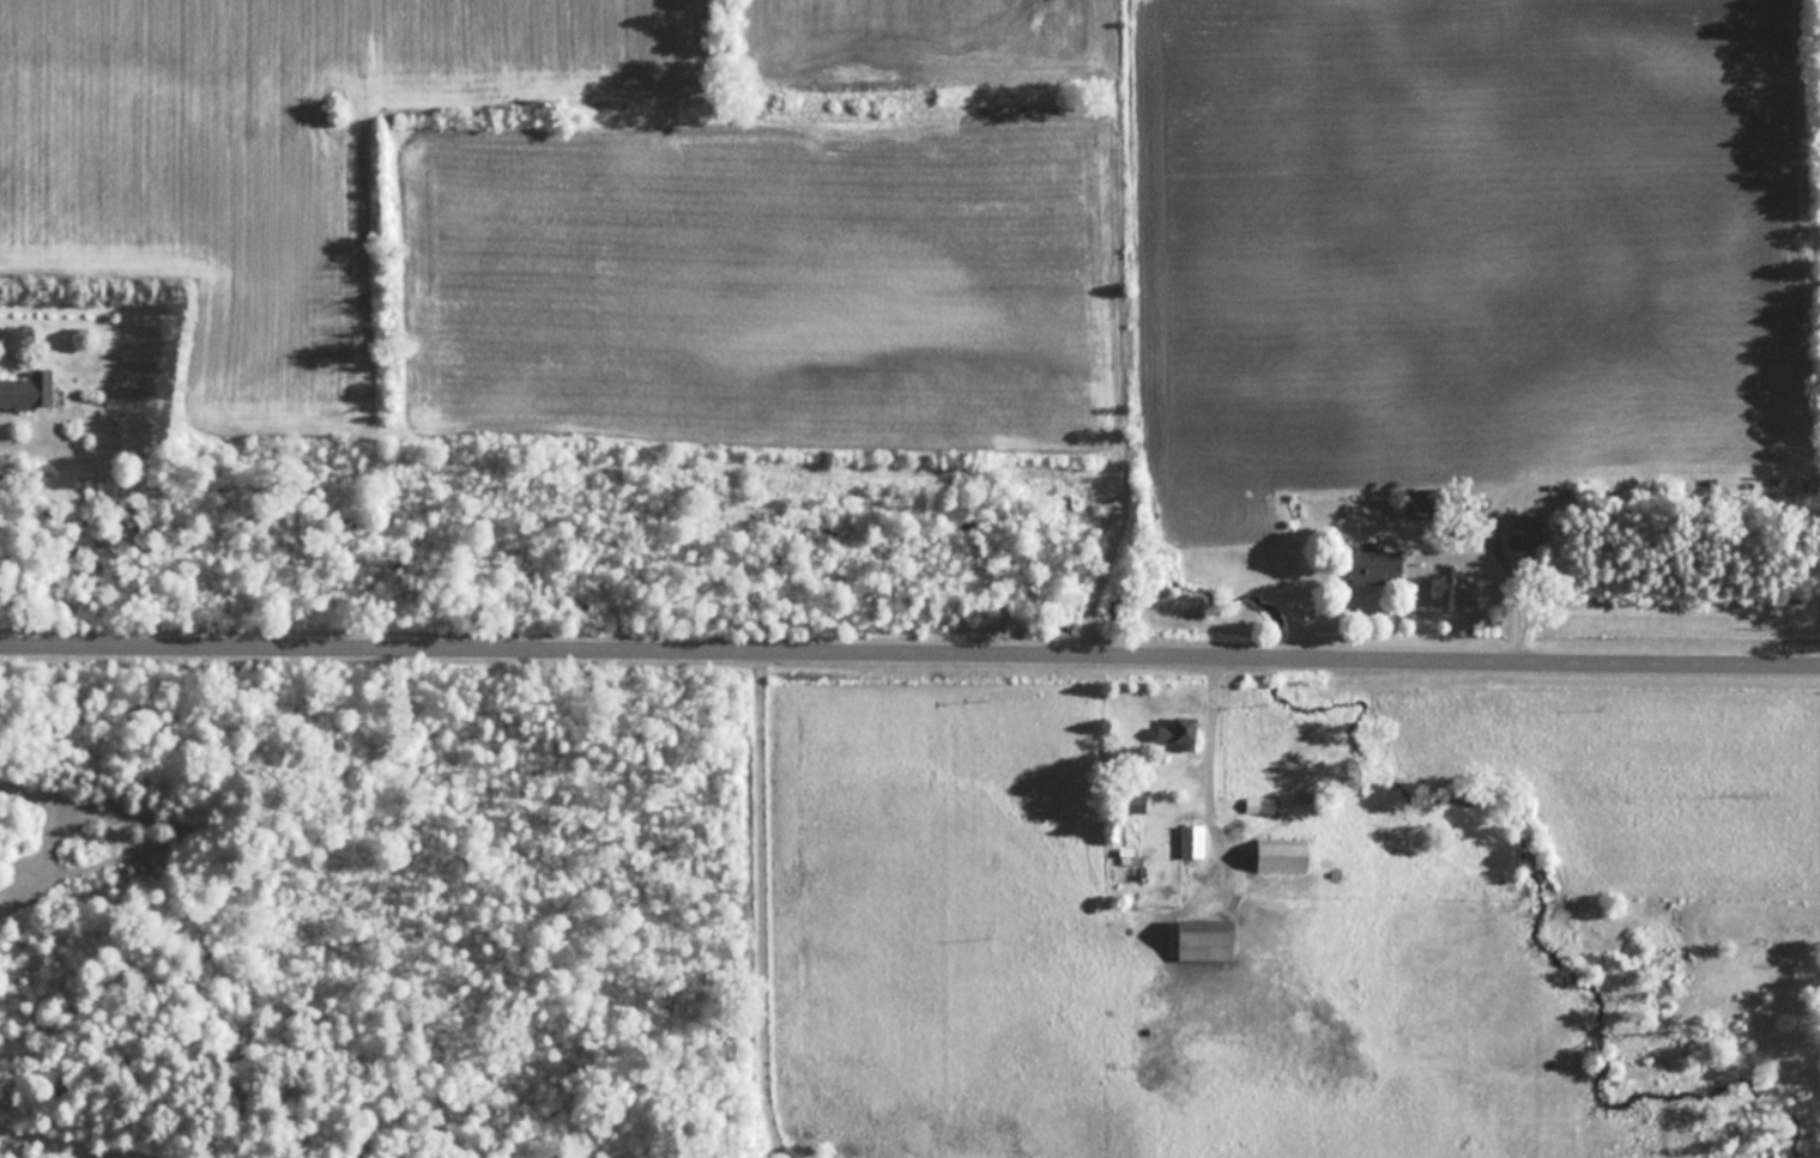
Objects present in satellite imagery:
building: (28, 392)
building: (1426, 503)
building: (1378, 568)
road: (909, 645)
building: (1181, 733)
building: (1259, 805)
building: (1192, 842)
building: (1284, 855)
road: (760, 899)
building: (1209, 940)

